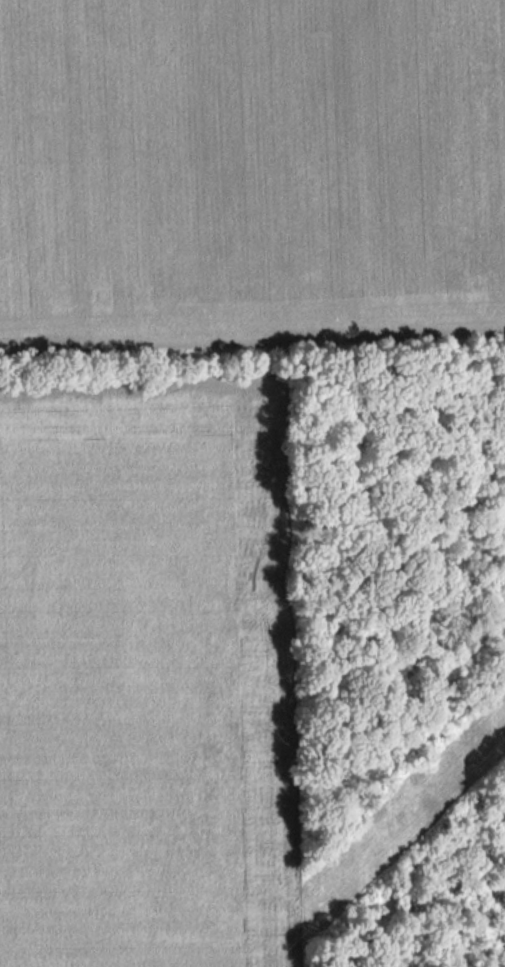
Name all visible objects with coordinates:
crop: (250, 170)
crop: (146, 674)

